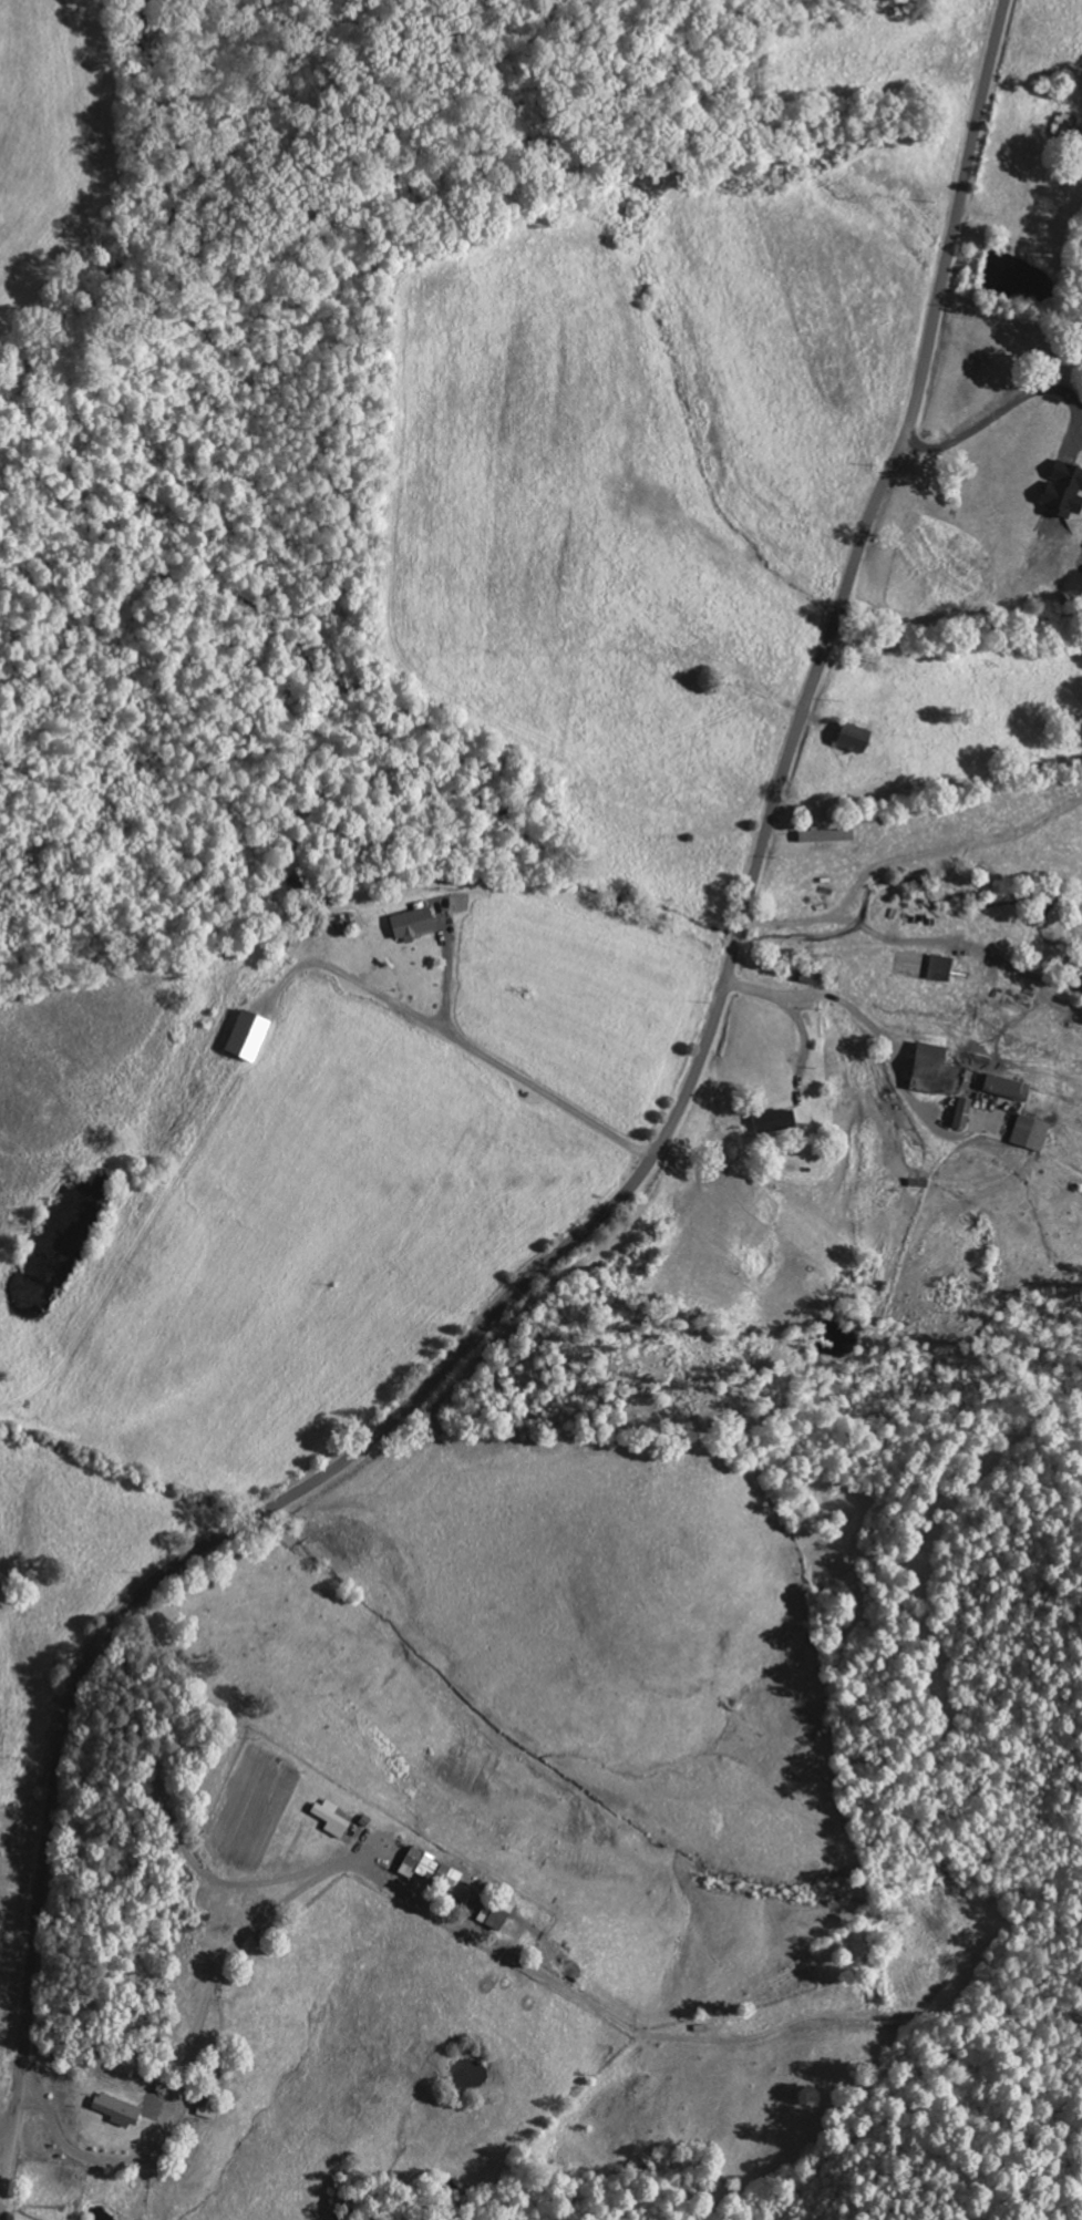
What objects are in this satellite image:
building: (1064, 490)
building: (858, 739)
building: (828, 836)
building: (413, 923)
building: (942, 968)
building: (929, 1068)
building: (1008, 1088)
building: (969, 1118)
building: (776, 1123)
road: (619, 1196)
building: (333, 1819)
building: (420, 1864)
building: (209, 2109)
building: (120, 2110)

